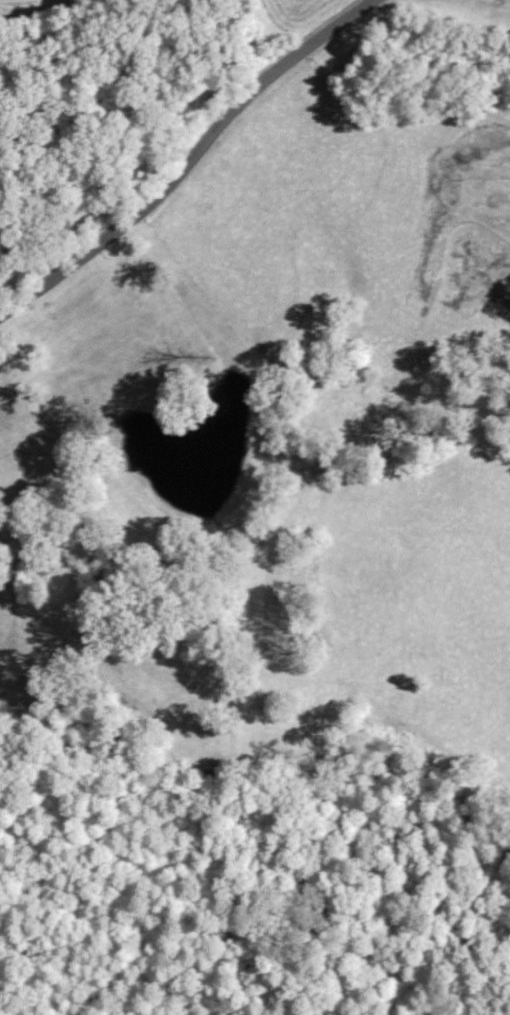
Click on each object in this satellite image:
road: (192, 161)

